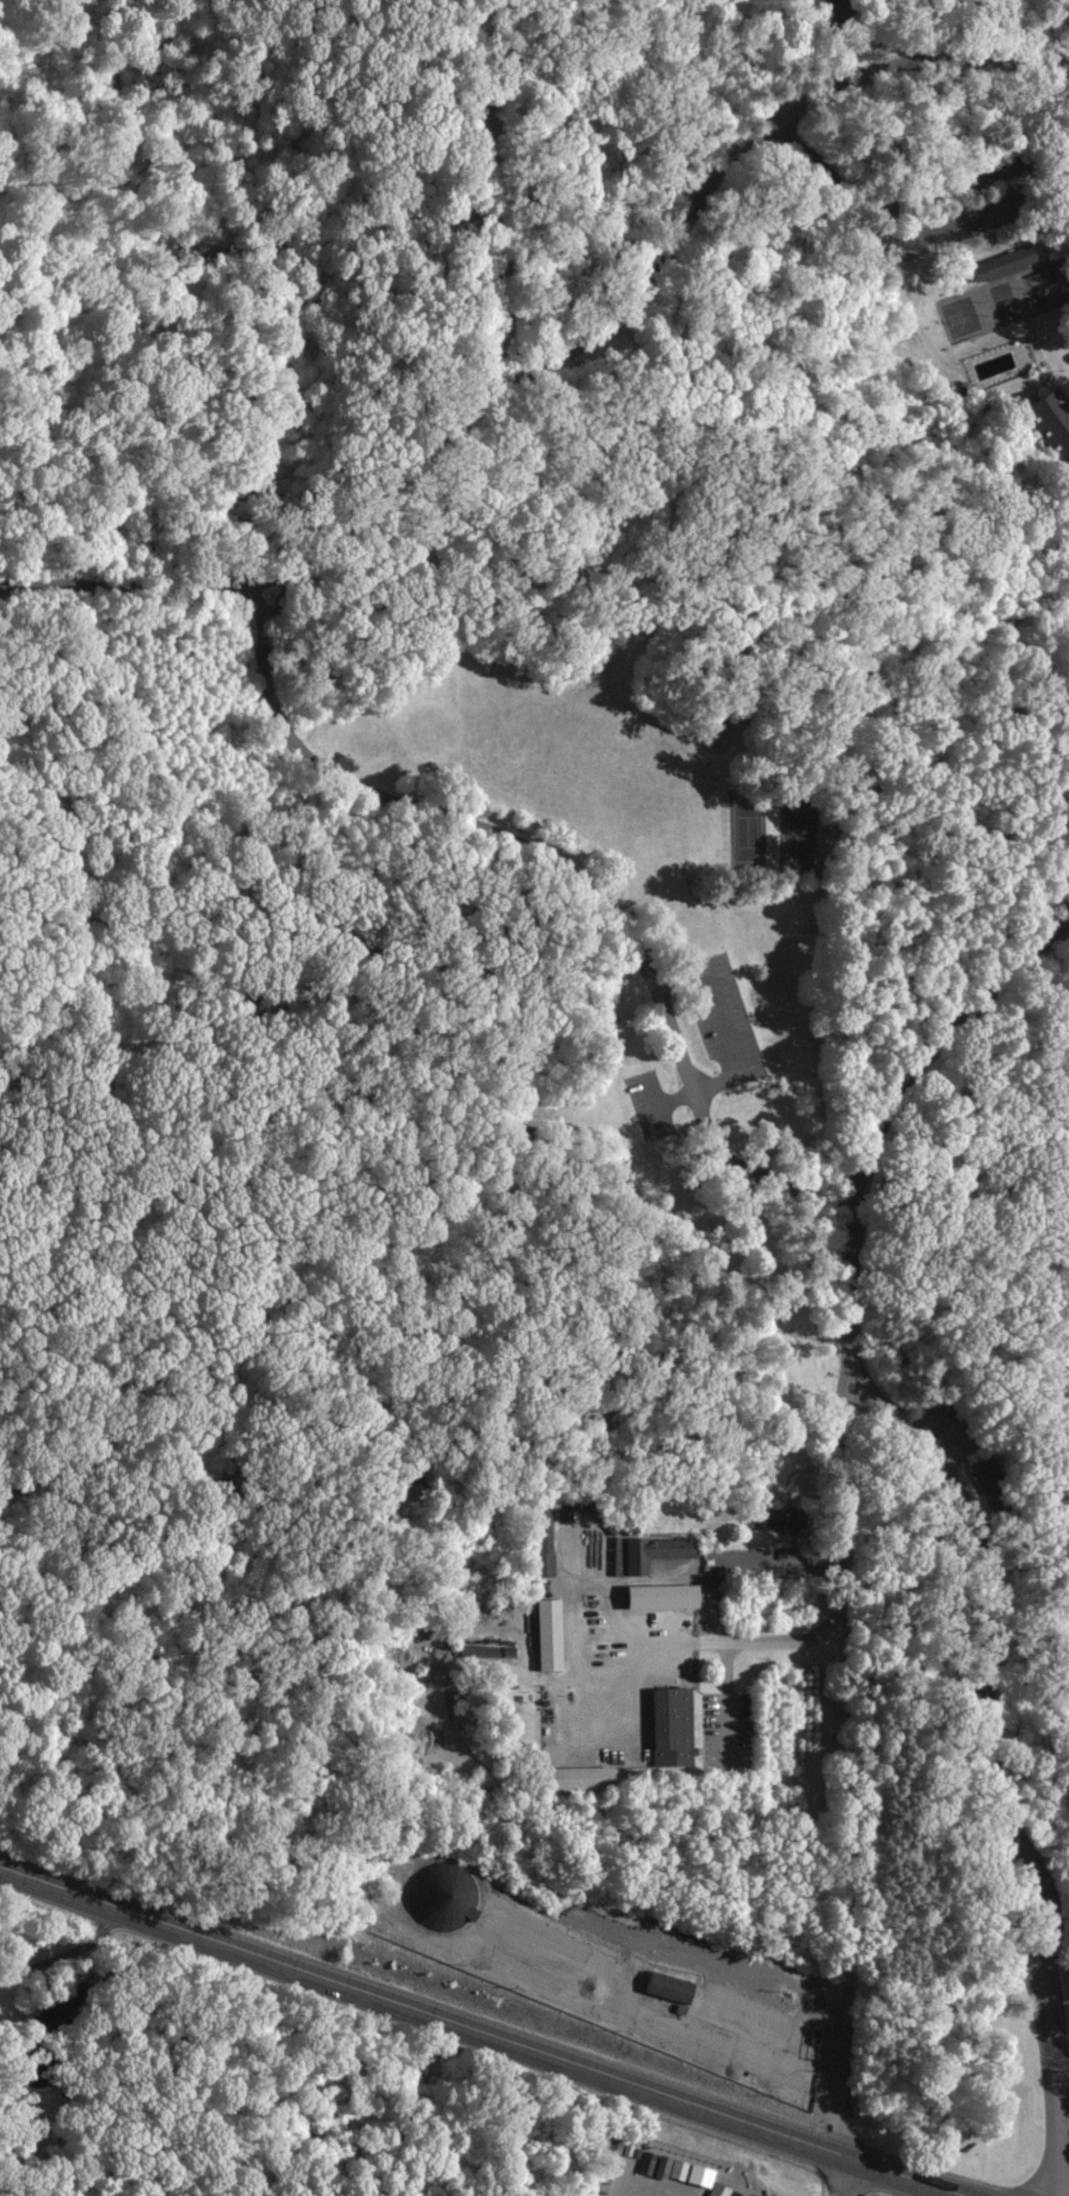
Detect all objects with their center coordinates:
road: (180, 13)
building: (839, 15)
road: (828, 41)
road: (429, 91)
parking lot: (789, 95)
building: (475, 96)
road: (1051, 107)
road: (828, 164)
road: (962, 185)
road: (594, 198)
parking lot: (969, 201)
road: (976, 219)
road: (496, 255)
building: (1002, 263)
road: (953, 265)
park: (1047, 286)
park: (1007, 305)
park: (962, 318)
road: (726, 351)
road: (965, 379)
building: (1050, 423)
building: (1068, 552)
road: (294, 564)
road: (135, 583)
road: (453, 657)
park: (798, 832)
park: (749, 833)
building: (756, 950)
parking lot: (724, 1021)
road: (728, 1040)
parking lot: (650, 1106)
building: (516, 1132)
road: (538, 1311)
road: (854, 1350)
road: (947, 1423)
parking lot: (950, 1428)
building: (993, 1475)
building: (792, 1520)
building: (544, 1536)
building: (652, 1553)
building: (664, 1595)
road: (840, 1606)
building: (550, 1634)
building: (478, 1652)
road: (725, 1701)
building: (677, 1728)
parking lot: (725, 1728)
building: (585, 1780)
toll booth: (1019, 1886)
road: (1053, 1888)
building: (444, 1895)
road: (1000, 1903)
road: (66, 1954)
building: (675, 1988)
road: (479, 2033)
road: (1057, 2085)
building: (701, 2174)
road: (847, 2178)
building: (723, 2191)

